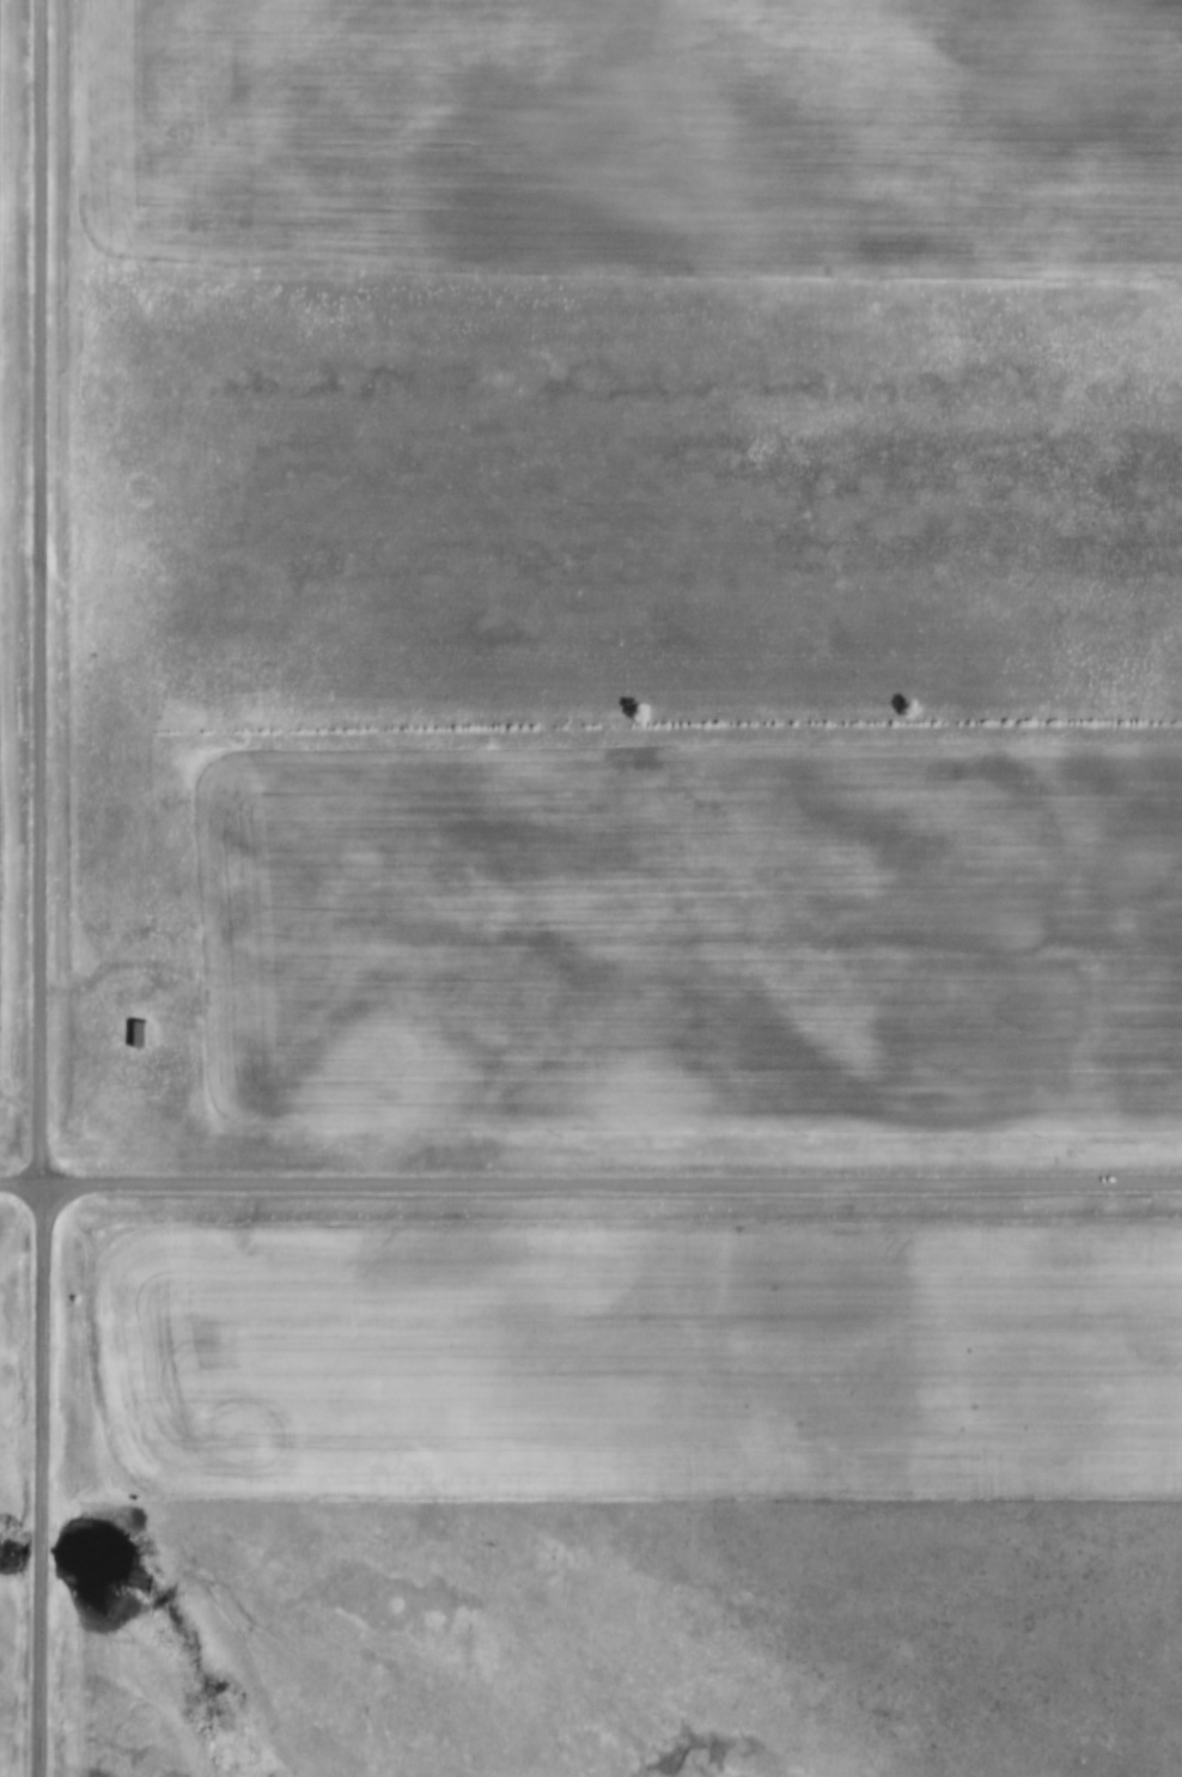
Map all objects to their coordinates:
road: (42, 888)
building: (138, 1027)
road: (591, 1187)

